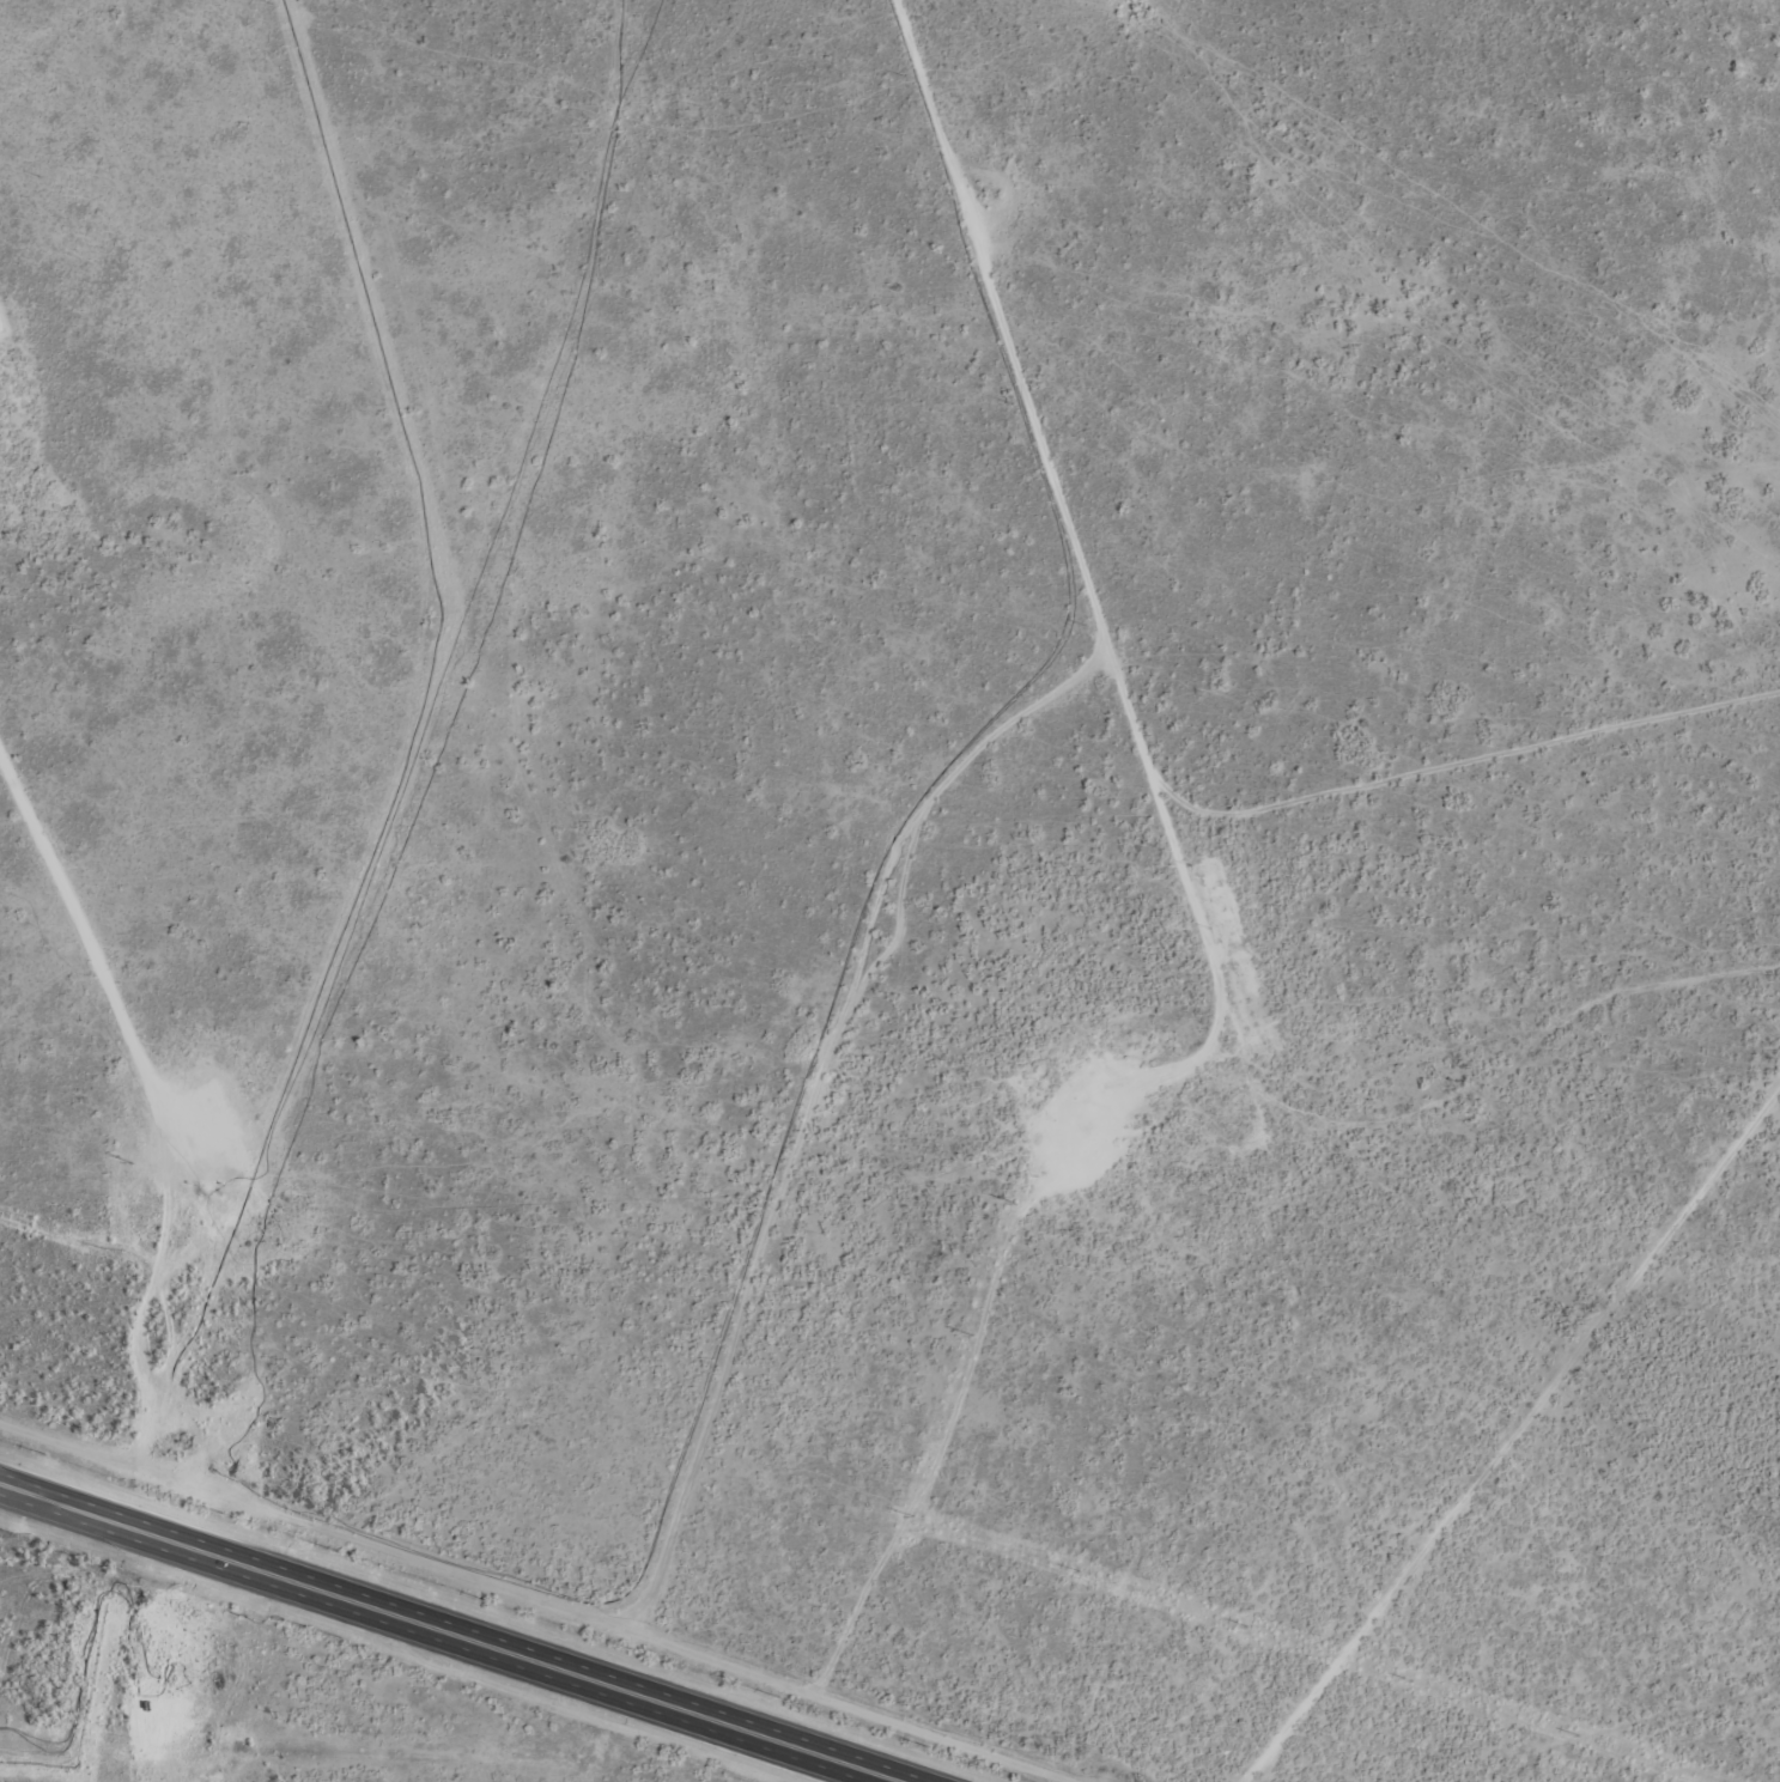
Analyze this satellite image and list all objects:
road: (444, 1634)

